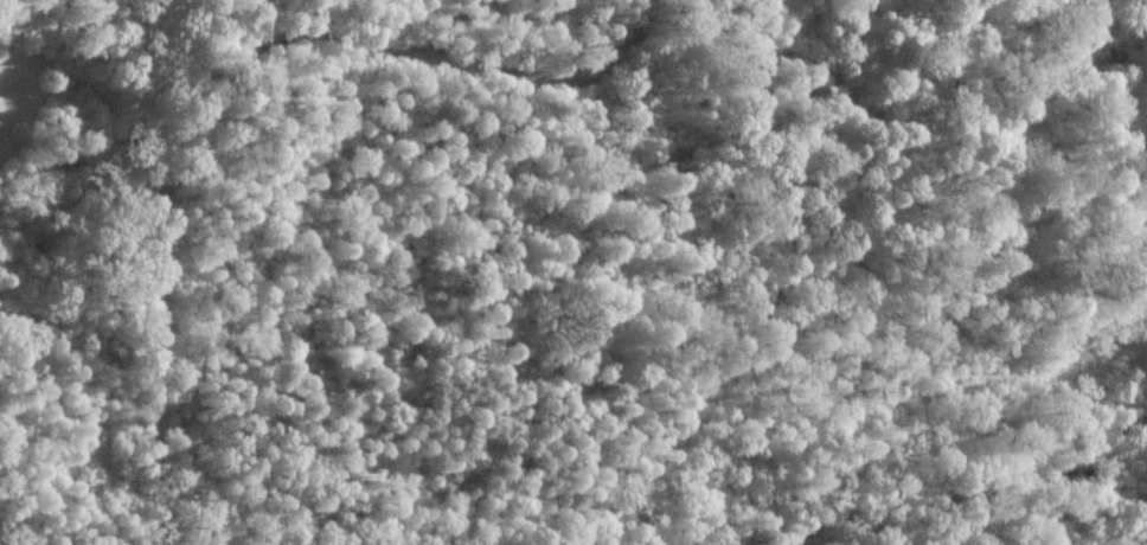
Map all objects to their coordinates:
road: (230, 76)
road: (1024, 519)

